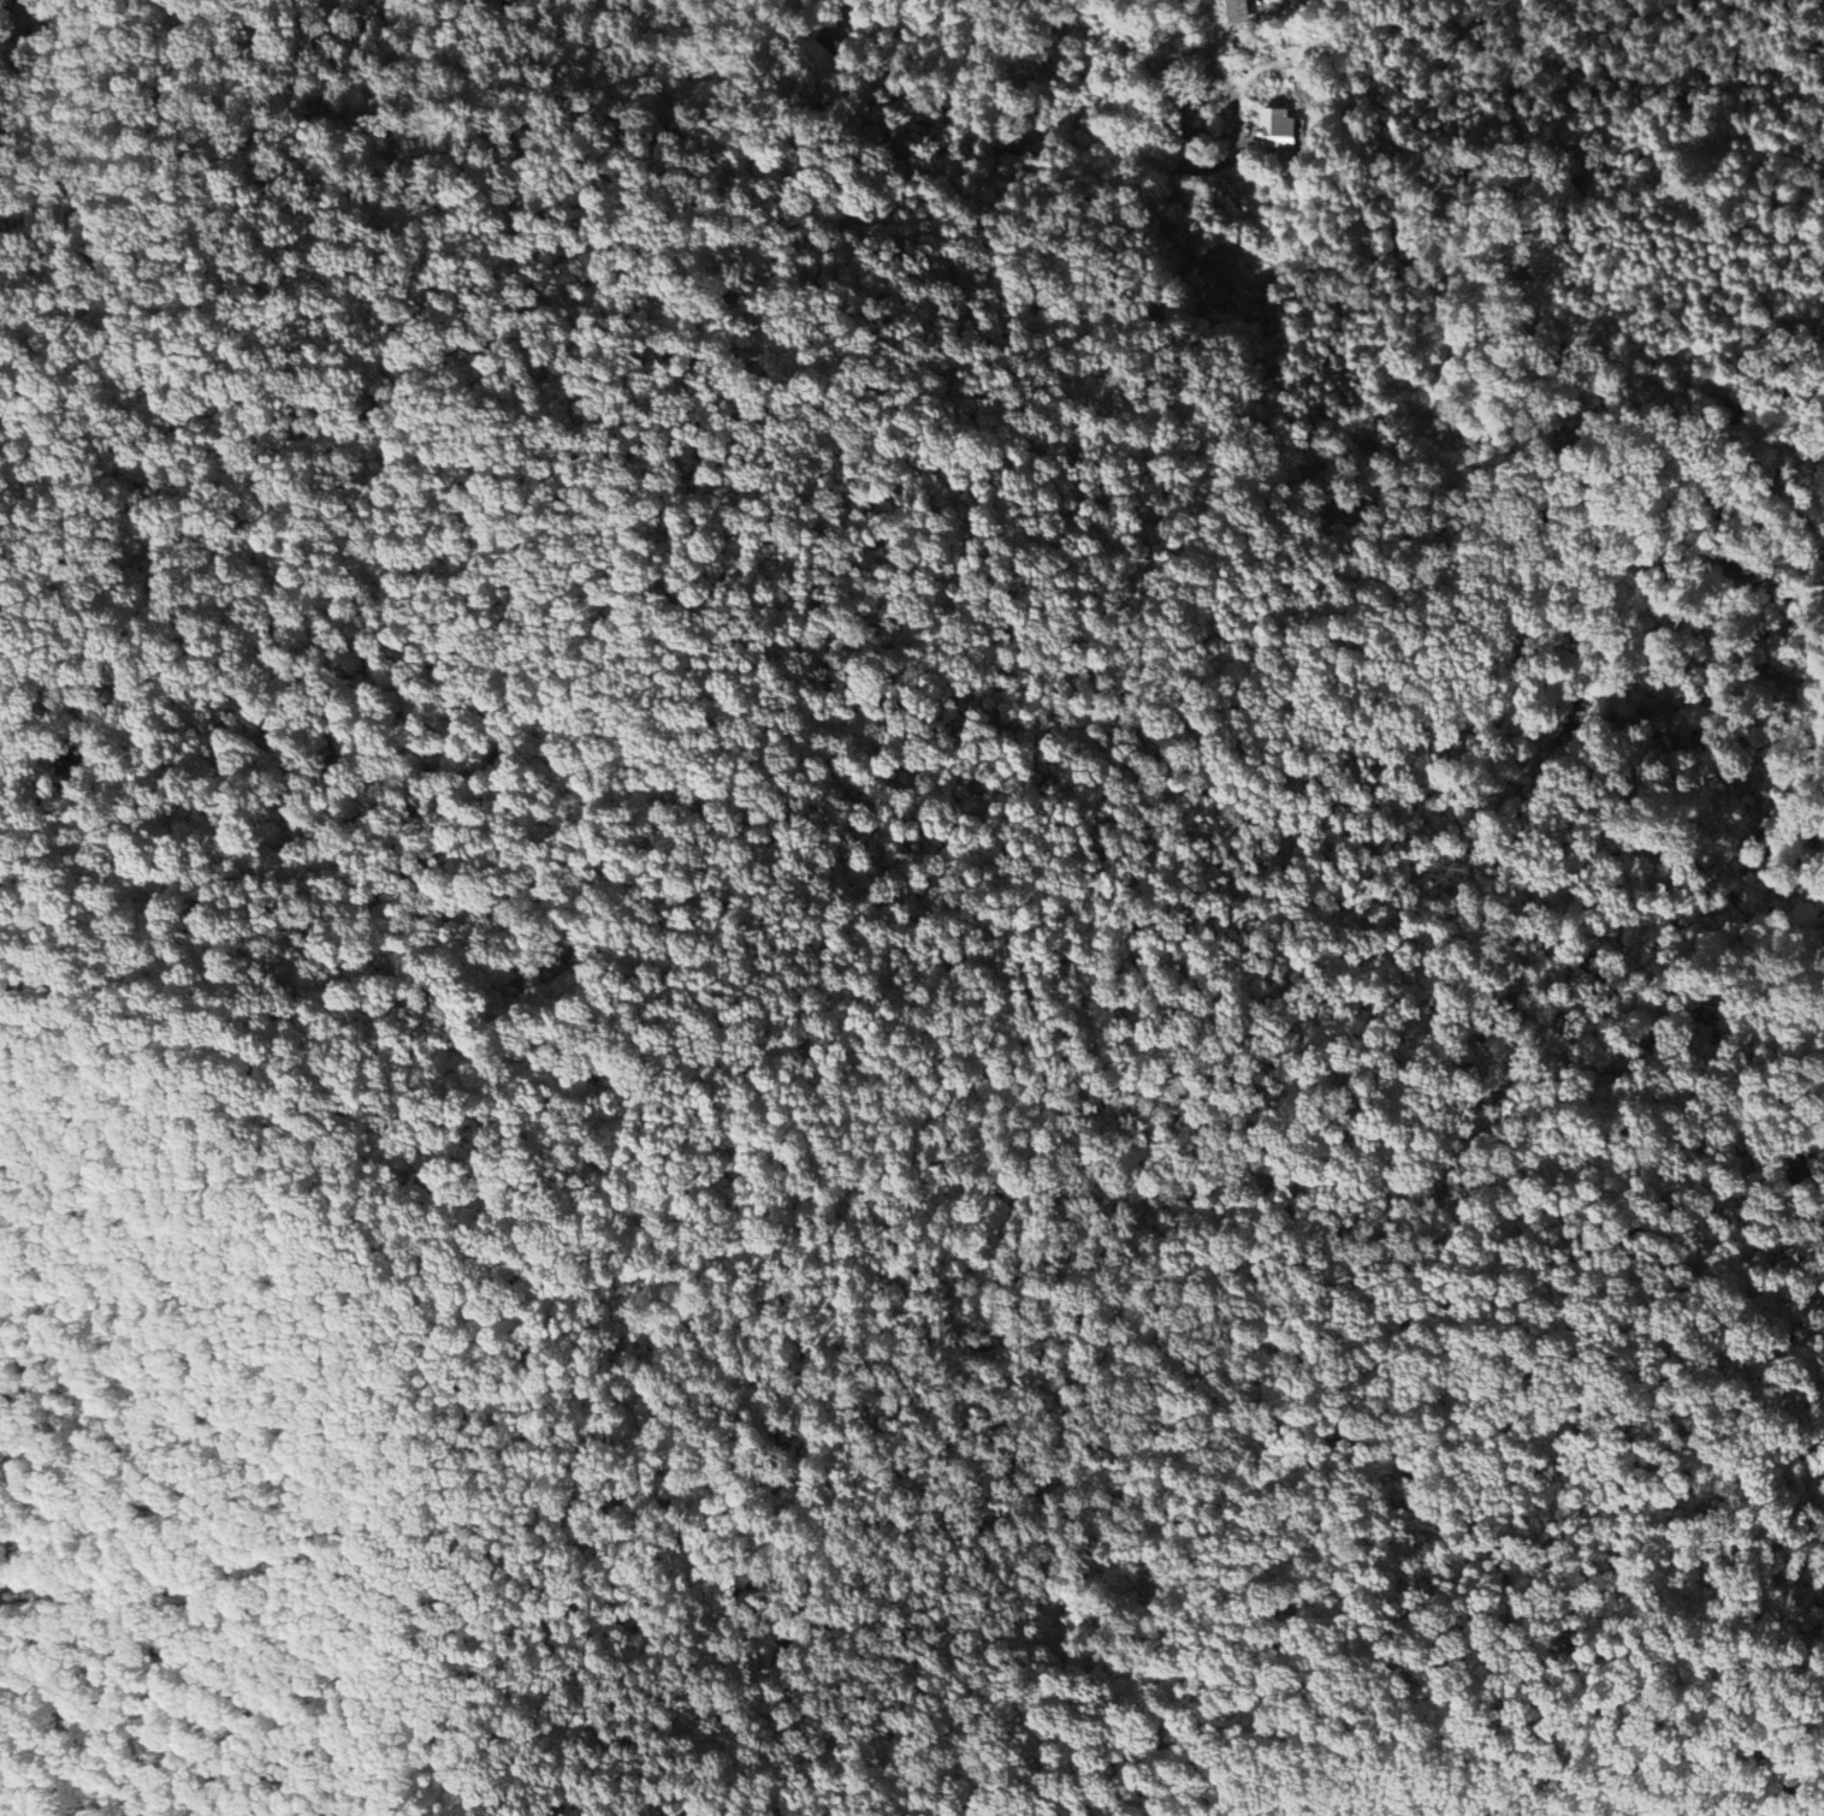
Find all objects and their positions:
building: (1237, 11)
building: (1278, 129)

